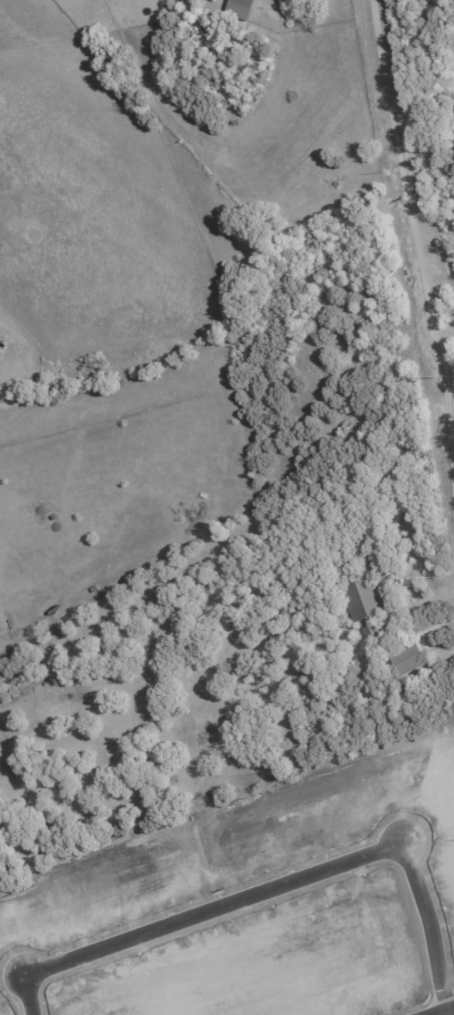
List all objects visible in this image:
building: (240, 8)
road: (414, 232)
power tower: (438, 379)
road: (423, 604)
building: (364, 606)
building: (408, 659)
road: (280, 881)
road: (442, 1010)

